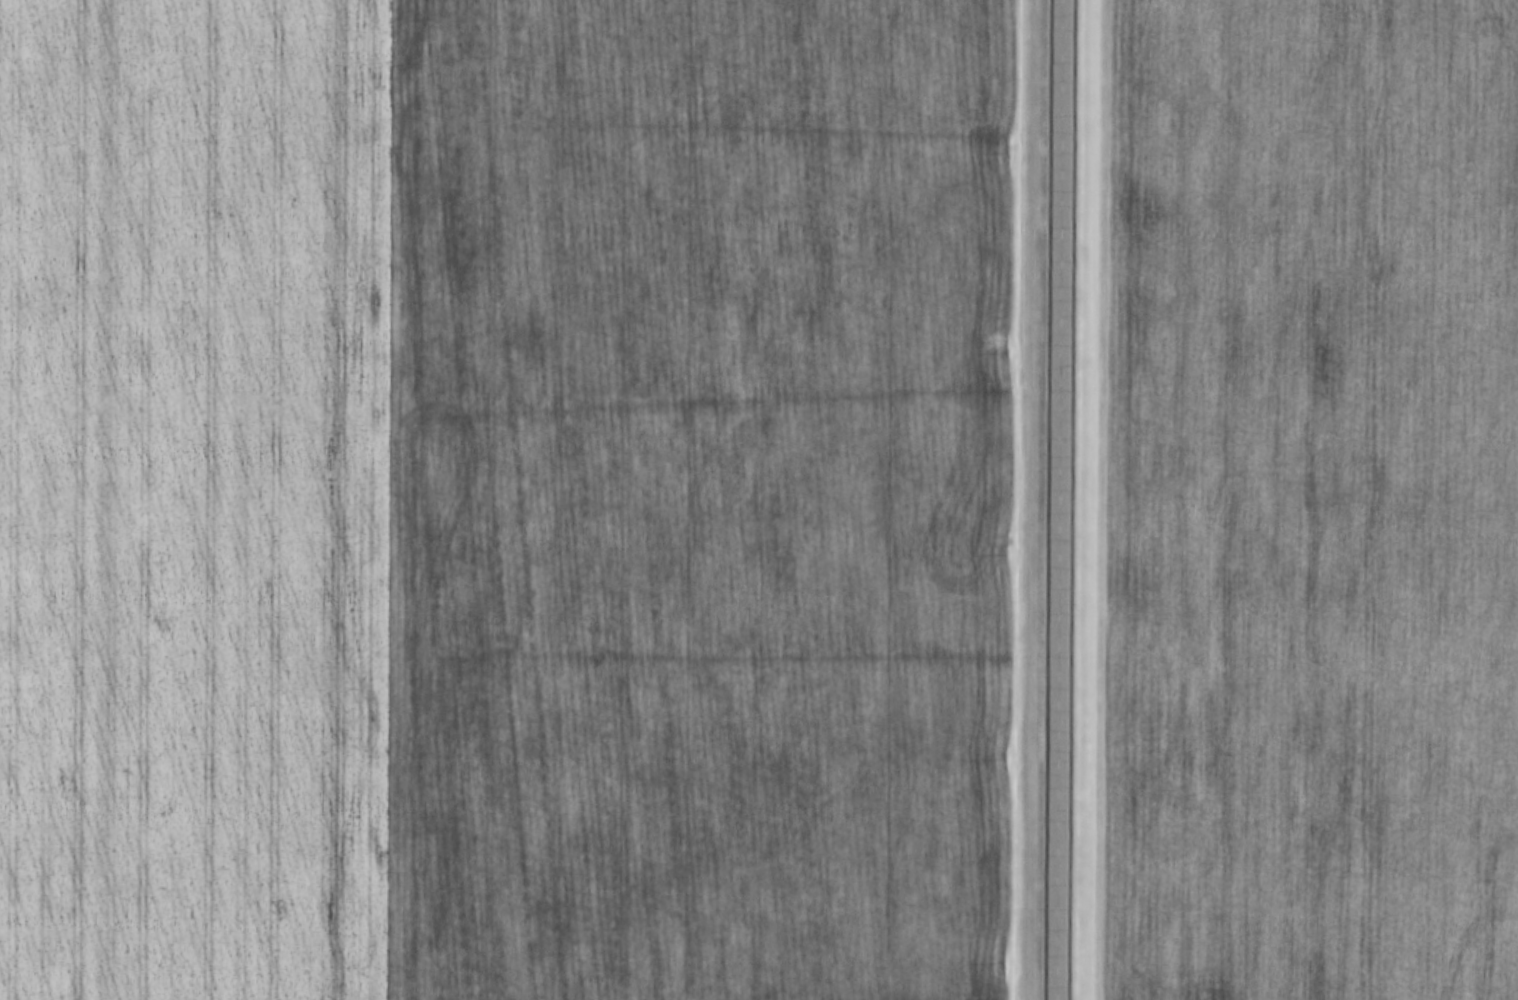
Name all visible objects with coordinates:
road: (1061, 500)

